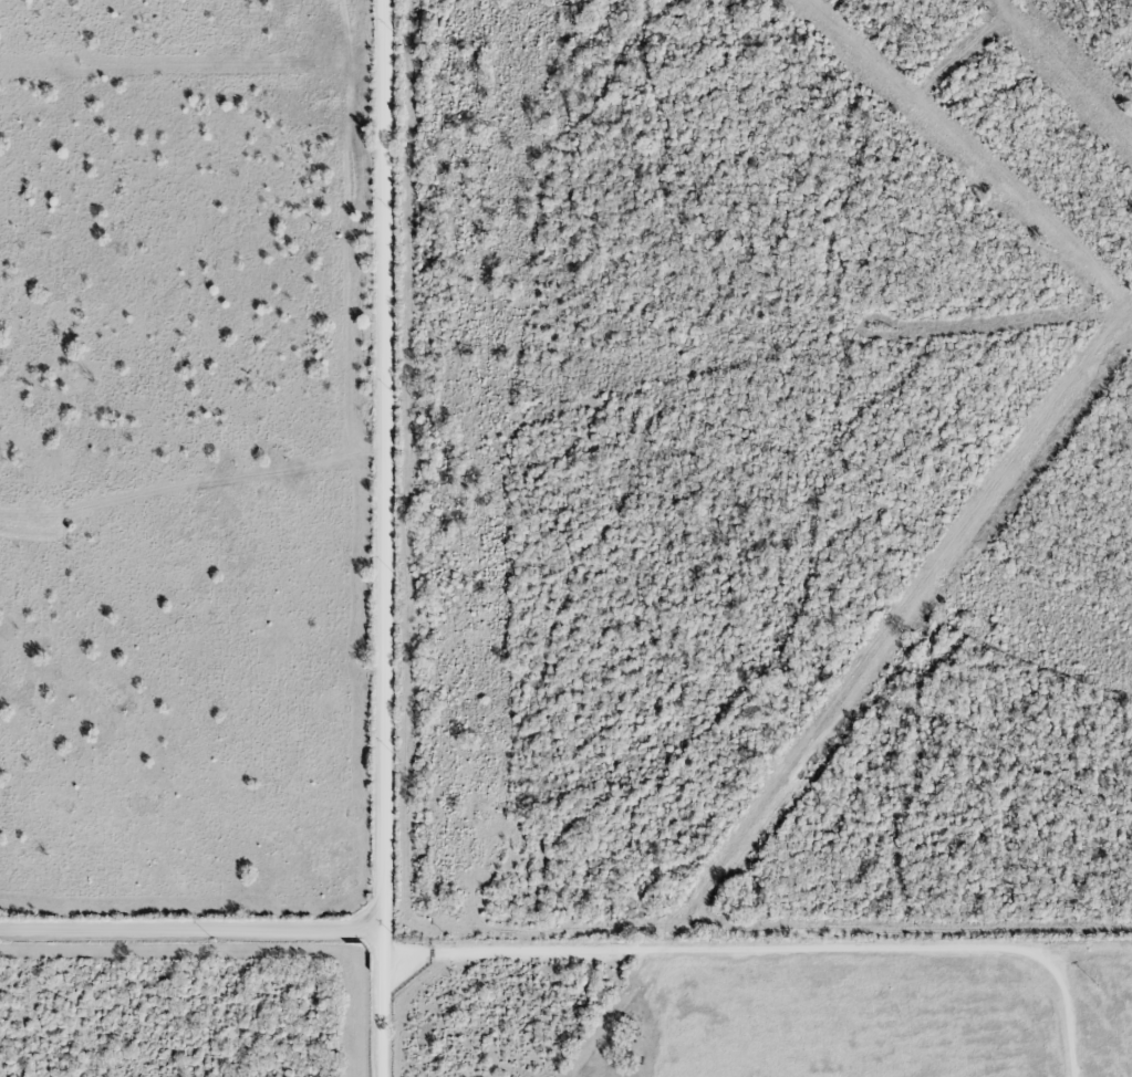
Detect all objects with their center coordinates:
road: (382, 538)
road: (190, 926)
road: (777, 944)

